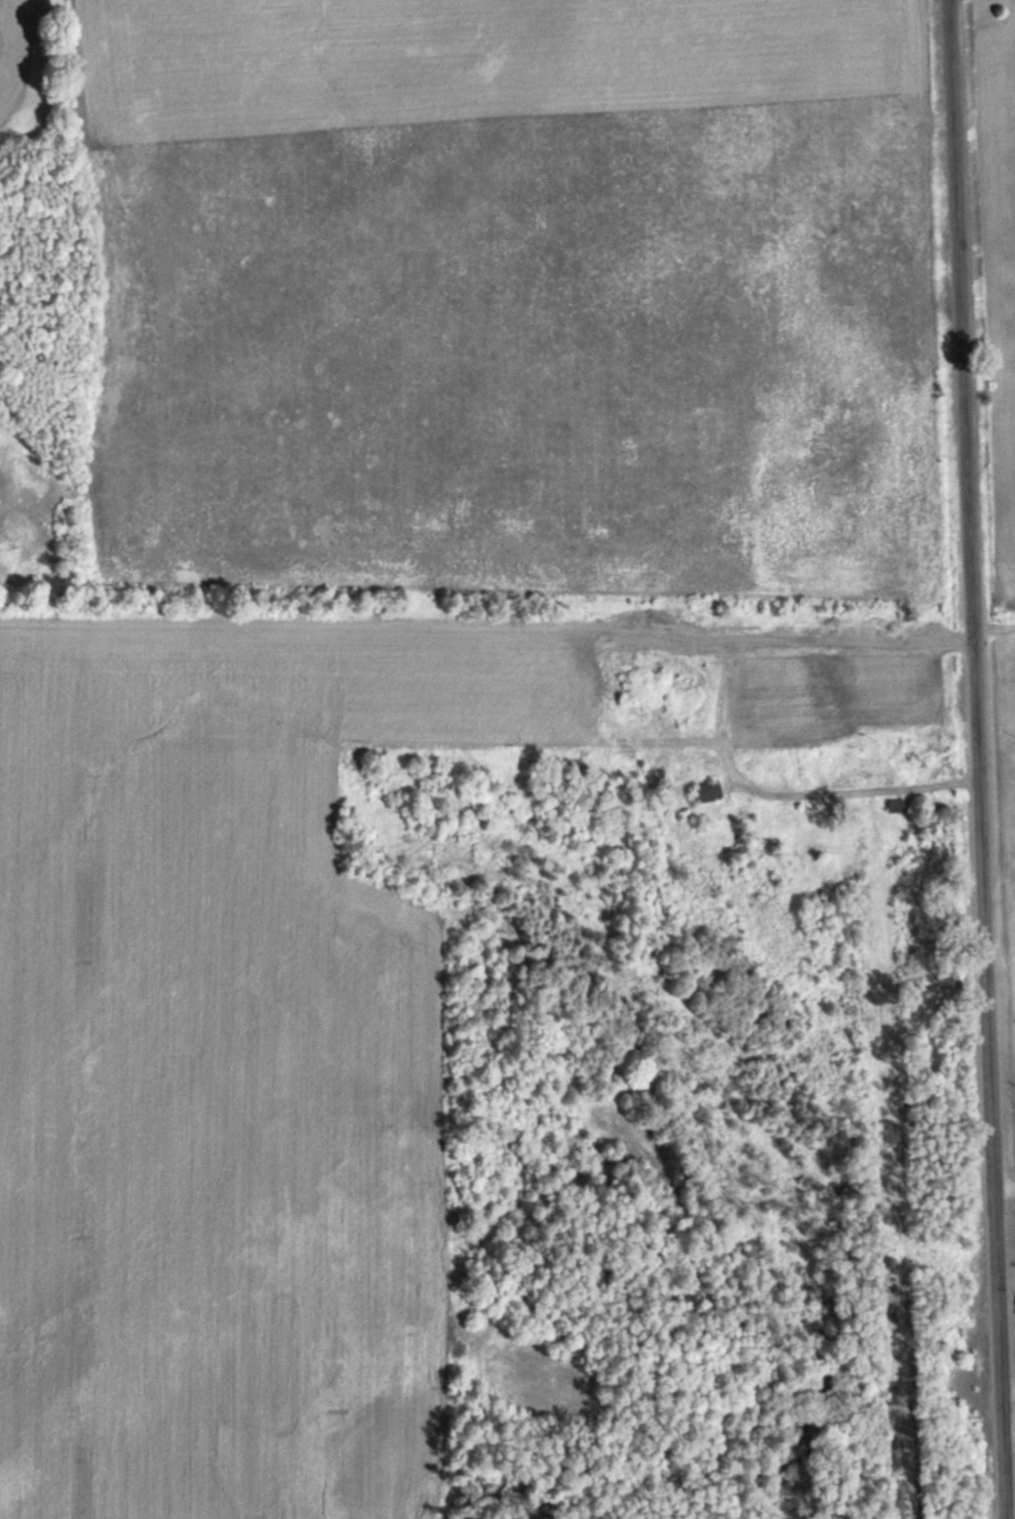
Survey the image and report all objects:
road: (992, 625)
building: (922, 758)
road: (973, 759)
building: (706, 790)
building: (893, 804)
road: (1002, 1191)
road: (1007, 1381)

